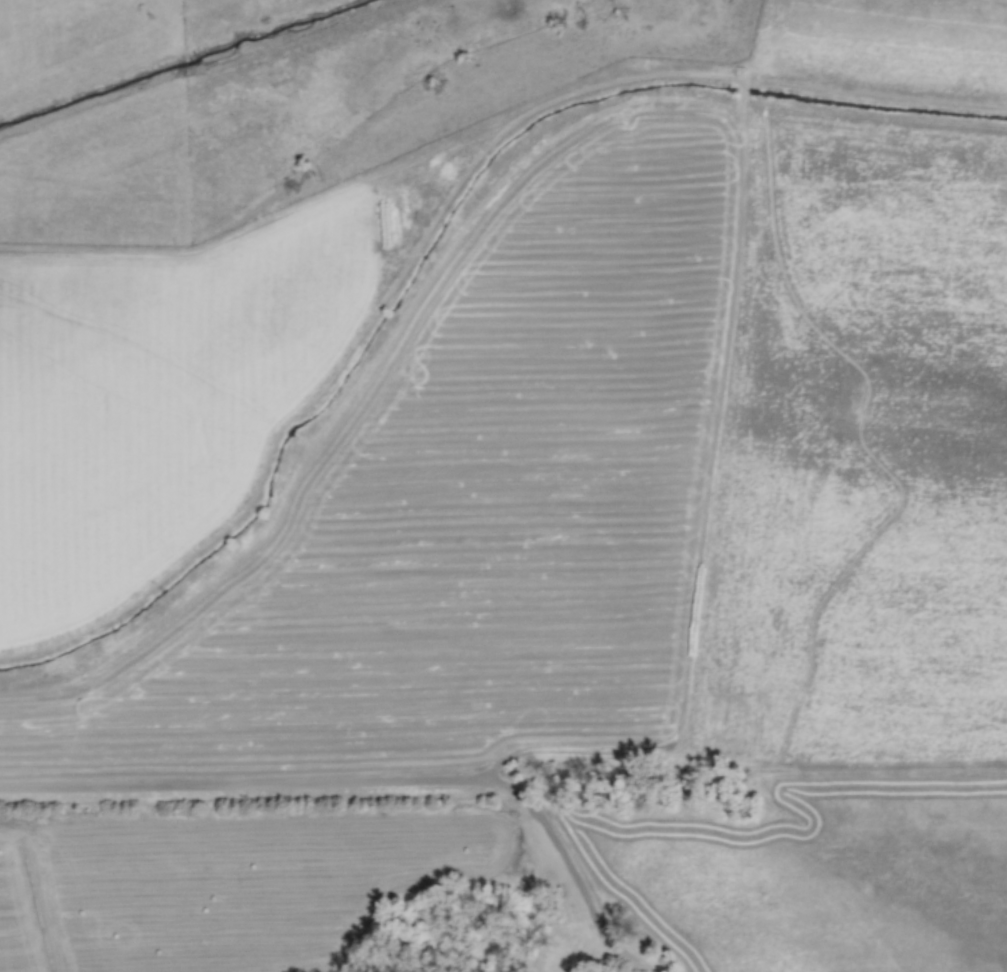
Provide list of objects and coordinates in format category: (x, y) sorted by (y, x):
road: (375, 780)

